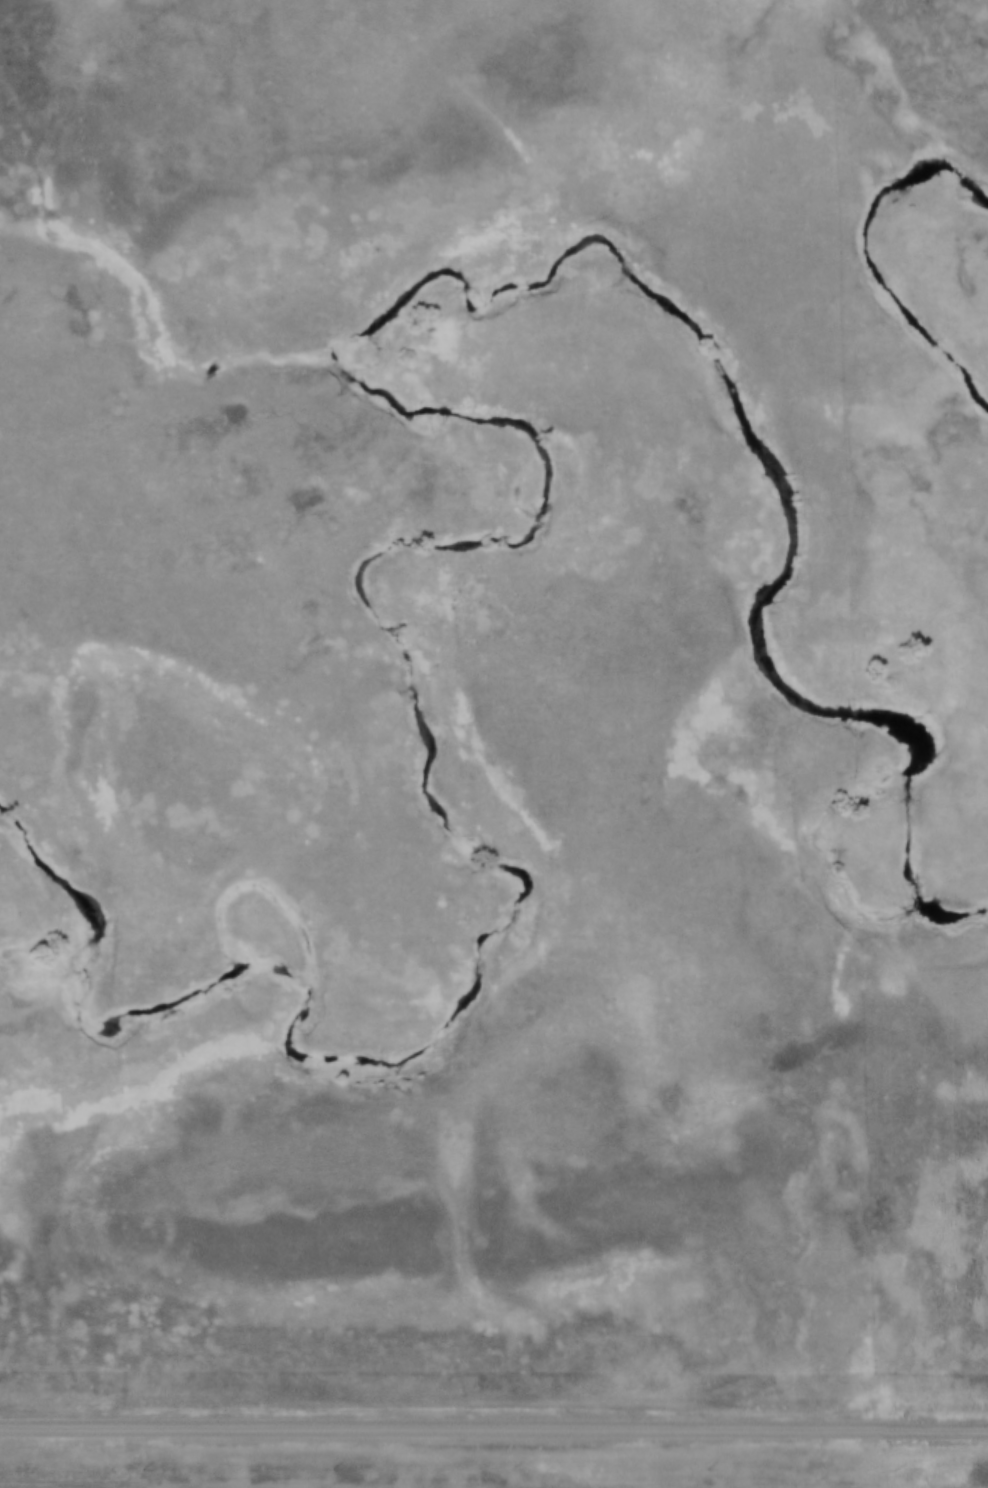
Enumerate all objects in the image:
road: (493, 1424)

